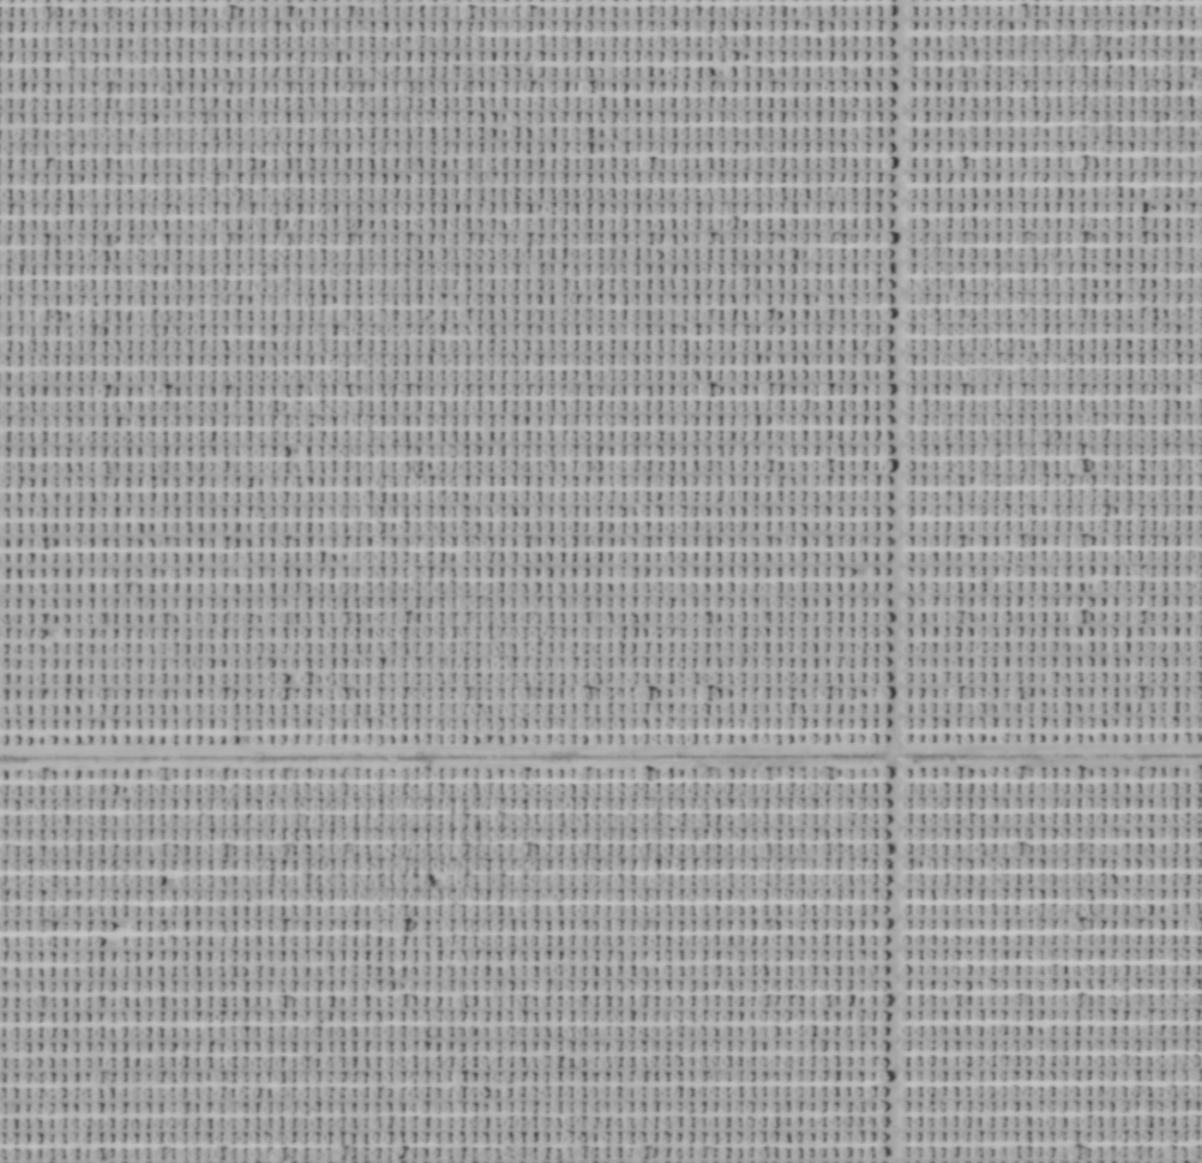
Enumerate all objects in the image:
road: (889, 581)
road: (600, 755)

